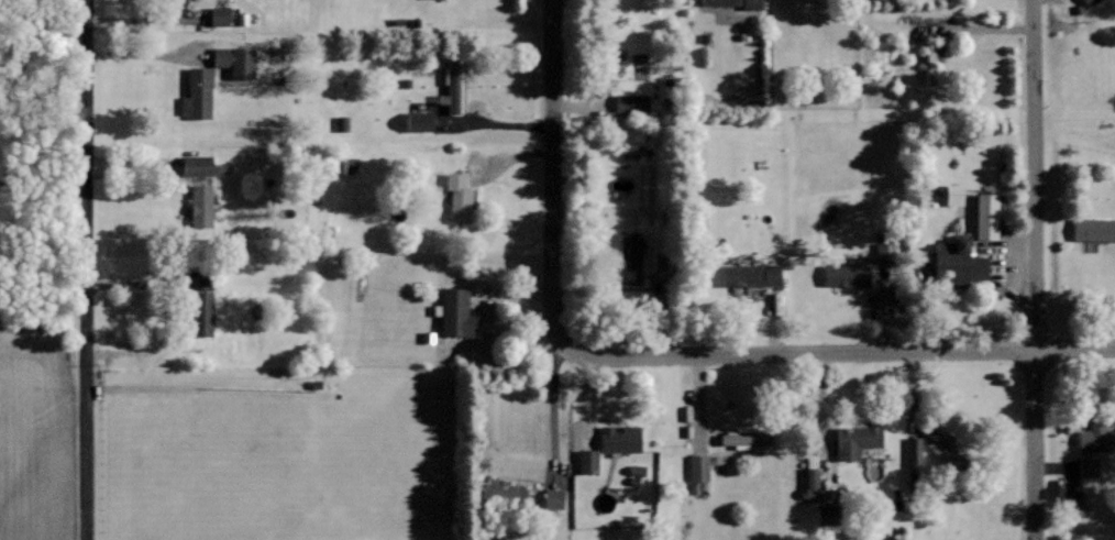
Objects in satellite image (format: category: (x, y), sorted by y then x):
building: (729, 2)
building: (1088, 2)
building: (217, 15)
building: (232, 60)
building: (452, 82)
building: (195, 92)
building: (628, 102)
building: (415, 122)
road: (551, 151)
building: (194, 165)
building: (951, 195)
building: (455, 197)
building: (199, 206)
building: (983, 216)
building: (1092, 229)
building: (628, 258)
building: (954, 261)
road: (85, 269)
road: (1035, 269)
building: (748, 275)
building: (843, 275)
building: (452, 312)
building: (199, 313)
road: (815, 352)
building: (617, 439)
building: (1094, 439)
building: (743, 440)
building: (853, 441)
building: (940, 445)
building: (912, 451)
building: (585, 461)
building: (1085, 467)
building: (696, 473)
building: (809, 483)
building: (500, 489)
building: (551, 498)
building: (1070, 507)
building: (824, 514)

